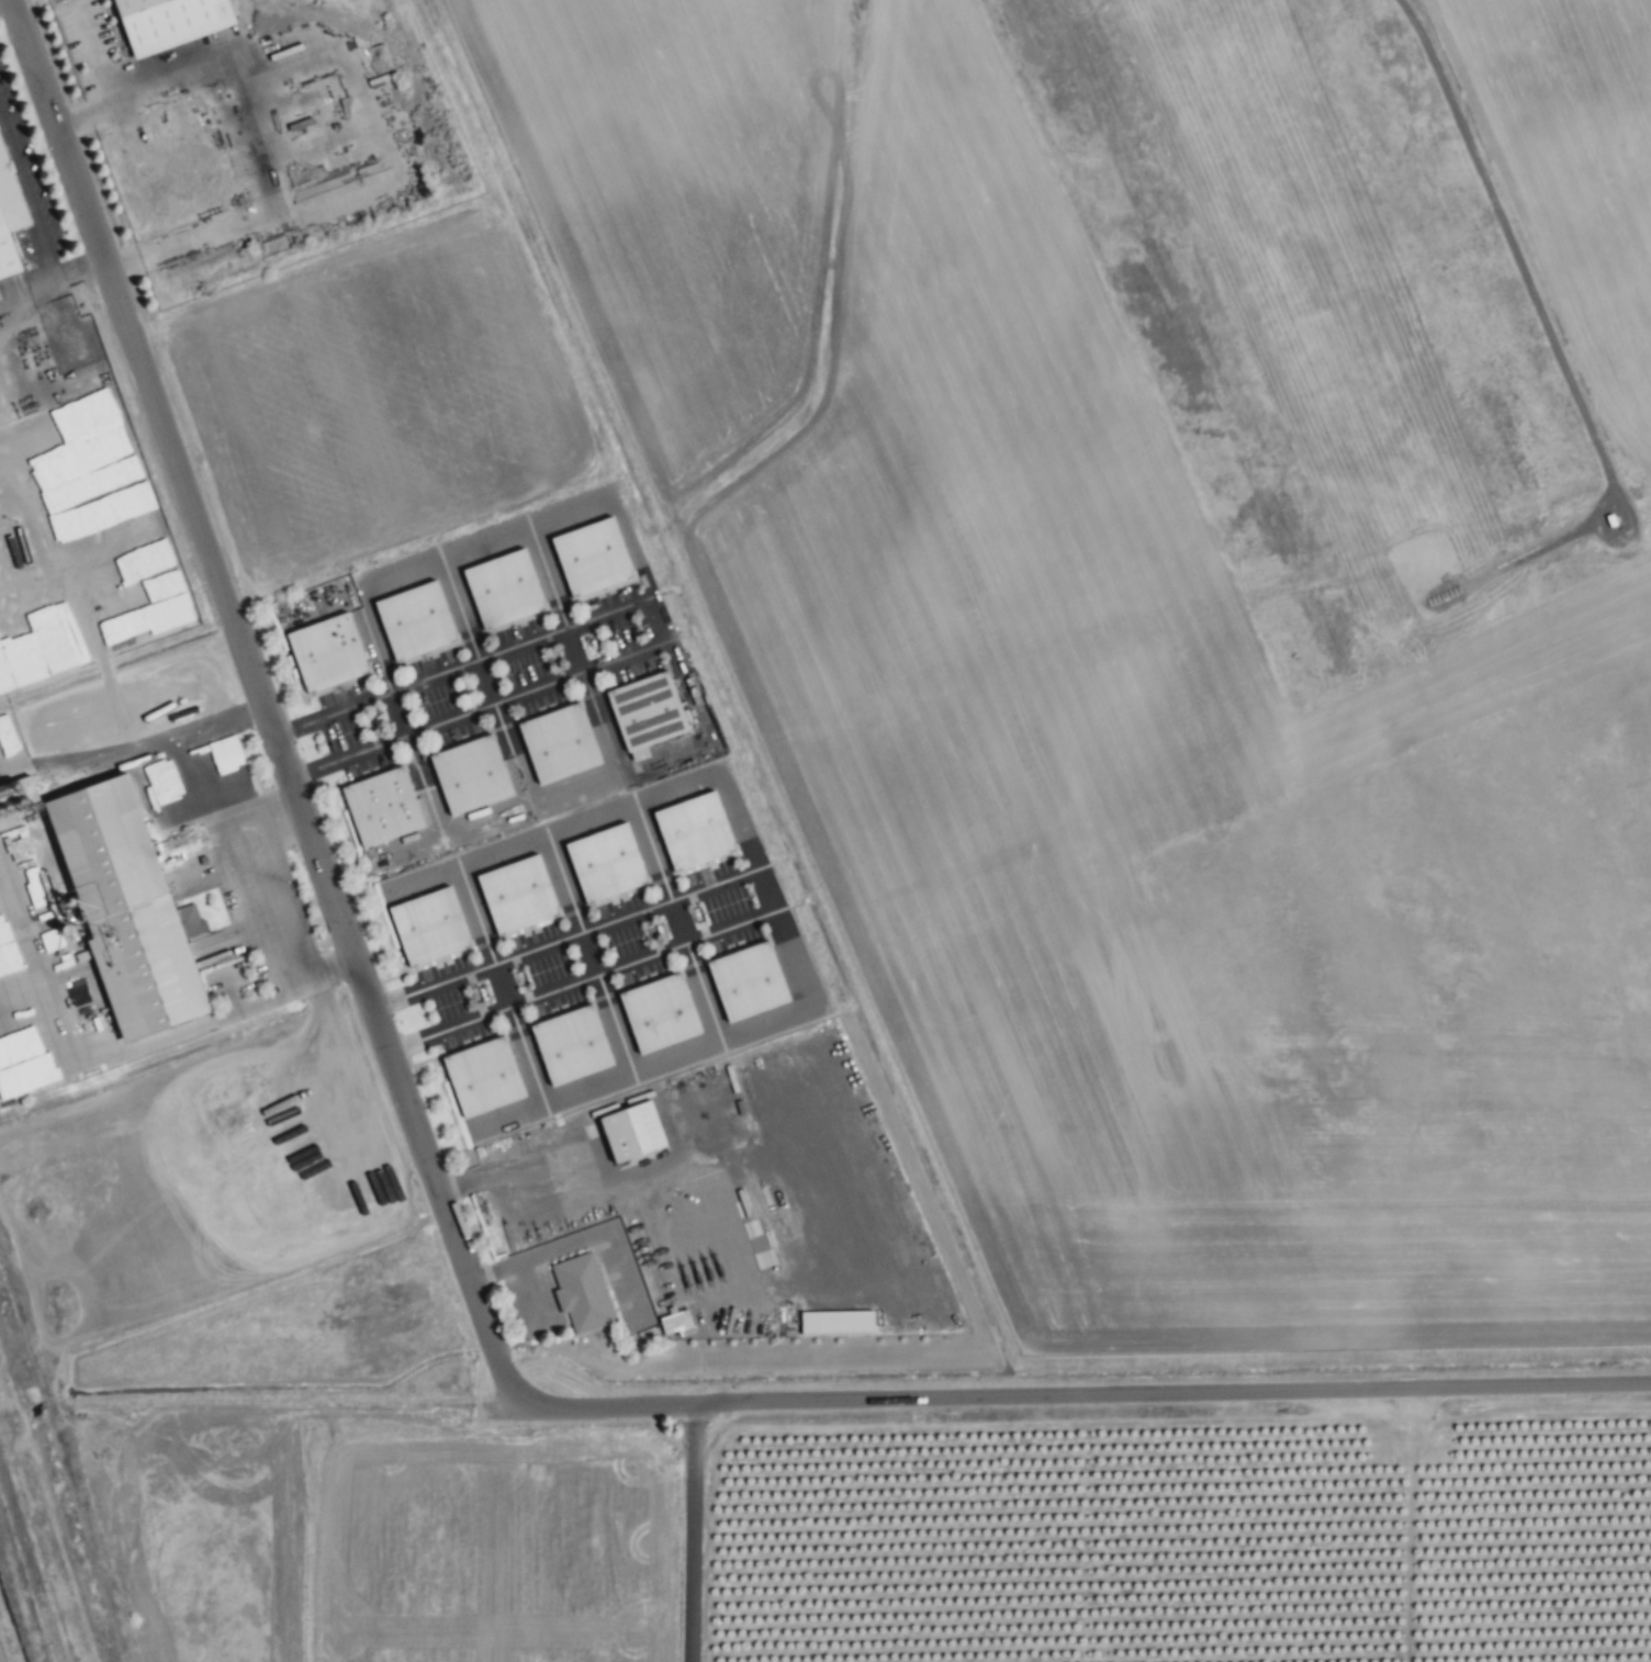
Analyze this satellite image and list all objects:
road: (0, 0)
building: (166, 22)
road: (98, 59)
road: (366, 103)
road: (26, 191)
building: (8, 222)
road: (187, 237)
road: (79, 269)
road: (31, 296)
road: (1545, 324)
road: (629, 544)
building: (587, 557)
road: (434, 558)
road: (548, 575)
building: (499, 589)
building: (138, 592)
road: (458, 608)
building: (412, 620)
road: (662, 632)
road: (574, 649)
building: (323, 652)
road: (624, 655)
road: (460, 665)
road: (486, 681)
building: (0, 686)
building: (643, 710)
road: (396, 712)
road: (435, 723)
building: (554, 742)
road: (515, 752)
road: (186, 753)
road: (413, 757)
road: (608, 762)
building: (467, 775)
building: (378, 806)
road: (565, 827)
building: (689, 831)
building: (602, 863)
road: (661, 872)
road: (425, 878)
building: (513, 895)
road: (266, 898)
road: (572, 903)
building: (123, 910)
road: (774, 911)
building: (425, 927)
building: (8, 957)
road: (580, 980)
building: (743, 981)
road: (700, 989)
building: (655, 1013)
road: (614, 1020)
building: (7, 1036)
building: (566, 1045)
road: (526, 1053)
building: (24, 1077)
building: (479, 1077)
building: (627, 1132)
road: (524, 1165)
road: (453, 1187)
road: (452, 1236)
road: (538, 1253)
building: (580, 1293)
building: (833, 1323)
building: (674, 1324)
road: (692, 1532)
railway: (30, 1565)

